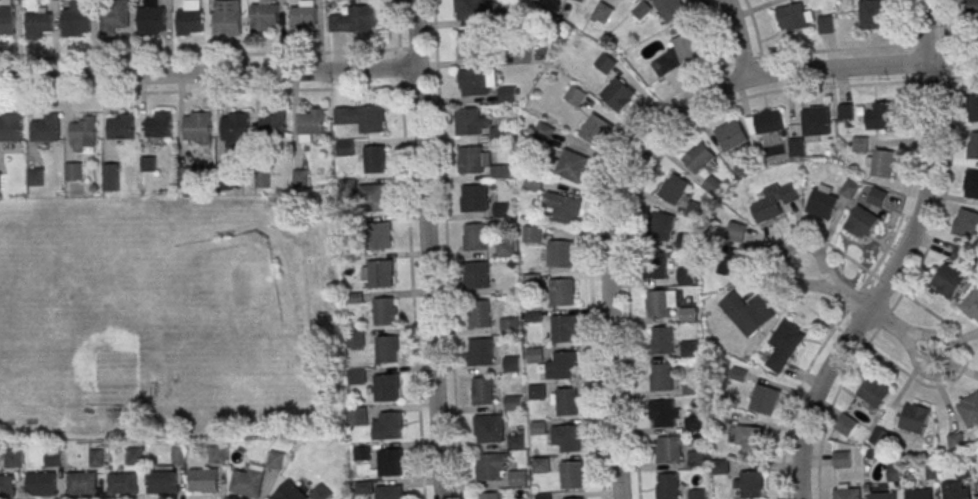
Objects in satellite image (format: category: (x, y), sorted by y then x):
building: (580, 0)
building: (636, 0)
building: (671, 8)
building: (479, 9)
building: (969, 9)
building: (603, 12)
building: (873, 14)
building: (264, 16)
building: (227, 17)
building: (794, 17)
building: (190, 18)
building: (301, 18)
building: (6, 19)
building: (76, 19)
building: (113, 19)
building: (355, 19)
building: (151, 20)
building: (37, 24)
road: (396, 24)
building: (825, 24)
road: (736, 38)
building: (467, 44)
road: (850, 47)
building: (682, 52)
building: (605, 62)
road: (399, 68)
road: (208, 72)
building: (477, 81)
building: (618, 93)
building: (507, 94)
building: (575, 95)
building: (972, 107)
building: (881, 116)
building: (361, 117)
building: (312, 119)
building: (816, 120)
building: (765, 121)
building: (275, 122)
building: (160, 123)
building: (477, 123)
building: (198, 124)
building: (121, 125)
building: (235, 125)
building: (84, 126)
building: (11, 127)
building: (46, 128)
building: (595, 129)
building: (543, 132)
building: (731, 135)
building: (973, 145)
building: (796, 146)
road: (643, 147)
building: (345, 148)
building: (699, 157)
building: (375, 159)
building: (473, 159)
building: (149, 163)
building: (881, 163)
building: (571, 165)
building: (73, 170)
building: (189, 173)
building: (36, 176)
building: (111, 176)
building: (301, 177)
building: (264, 178)
building: (225, 180)
building: (0, 182)
building: (534, 182)
building: (971, 184)
building: (674, 188)
building: (877, 196)
building: (378, 197)
building: (473, 197)
building: (828, 198)
building: (774, 202)
building: (563, 207)
building: (501, 209)
building: (695, 210)
building: (861, 222)
building: (966, 223)
building: (661, 225)
building: (532, 233)
building: (382, 235)
building: (474, 236)
building: (686, 240)
building: (505, 248)
road: (426, 249)
road: (446, 249)
building: (560, 253)
road: (590, 253)
building: (960, 254)
road: (900, 260)
building: (729, 263)
building: (655, 265)
building: (380, 272)
building: (477, 274)
building: (686, 275)
building: (947, 280)
road: (835, 288)
building: (562, 291)
building: (660, 302)
building: (971, 305)
building: (380, 311)
building: (480, 313)
building: (747, 313)
building: (509, 325)
building: (562, 328)
road: (899, 331)
building: (355, 338)
building: (663, 340)
building: (784, 345)
building: (690, 348)
building: (388, 349)
building: (481, 351)
building: (512, 363)
building: (564, 365)
building: (357, 375)
building: (663, 376)
building: (386, 387)
building: (482, 390)
building: (537, 391)
building: (874, 391)
building: (765, 399)
building: (567, 401)
building: (514, 402)
building: (969, 409)
building: (664, 413)
building: (361, 415)
building: (914, 418)
building: (694, 420)
building: (388, 424)
building: (844, 426)
building: (538, 427)
building: (489, 428)
building: (570, 437)
building: (879, 437)
building: (748, 438)
building: (516, 441)
building: (956, 441)
building: (668, 449)
building: (361, 452)
building: (177, 453)
building: (216, 453)
building: (134, 455)
building: (10, 457)
building: (53, 457)
building: (95, 457)
building: (841, 459)
building: (391, 461)
building: (541, 465)
building: (499, 469)
building: (894, 472)
building: (571, 474)
building: (203, 480)
building: (161, 481)
building: (248, 481)
building: (977, 481)
building: (40, 483)
building: (81, 483)
building: (121, 483)
building: (748, 484)
building: (7, 485)
building: (668, 486)
building: (363, 488)
building: (957, 491)
building: (288, 492)
building: (322, 492)
building: (390, 492)
building: (847, 492)
building: (919, 494)
building: (489, 495)
building: (883, 495)
building: (571, 498)

